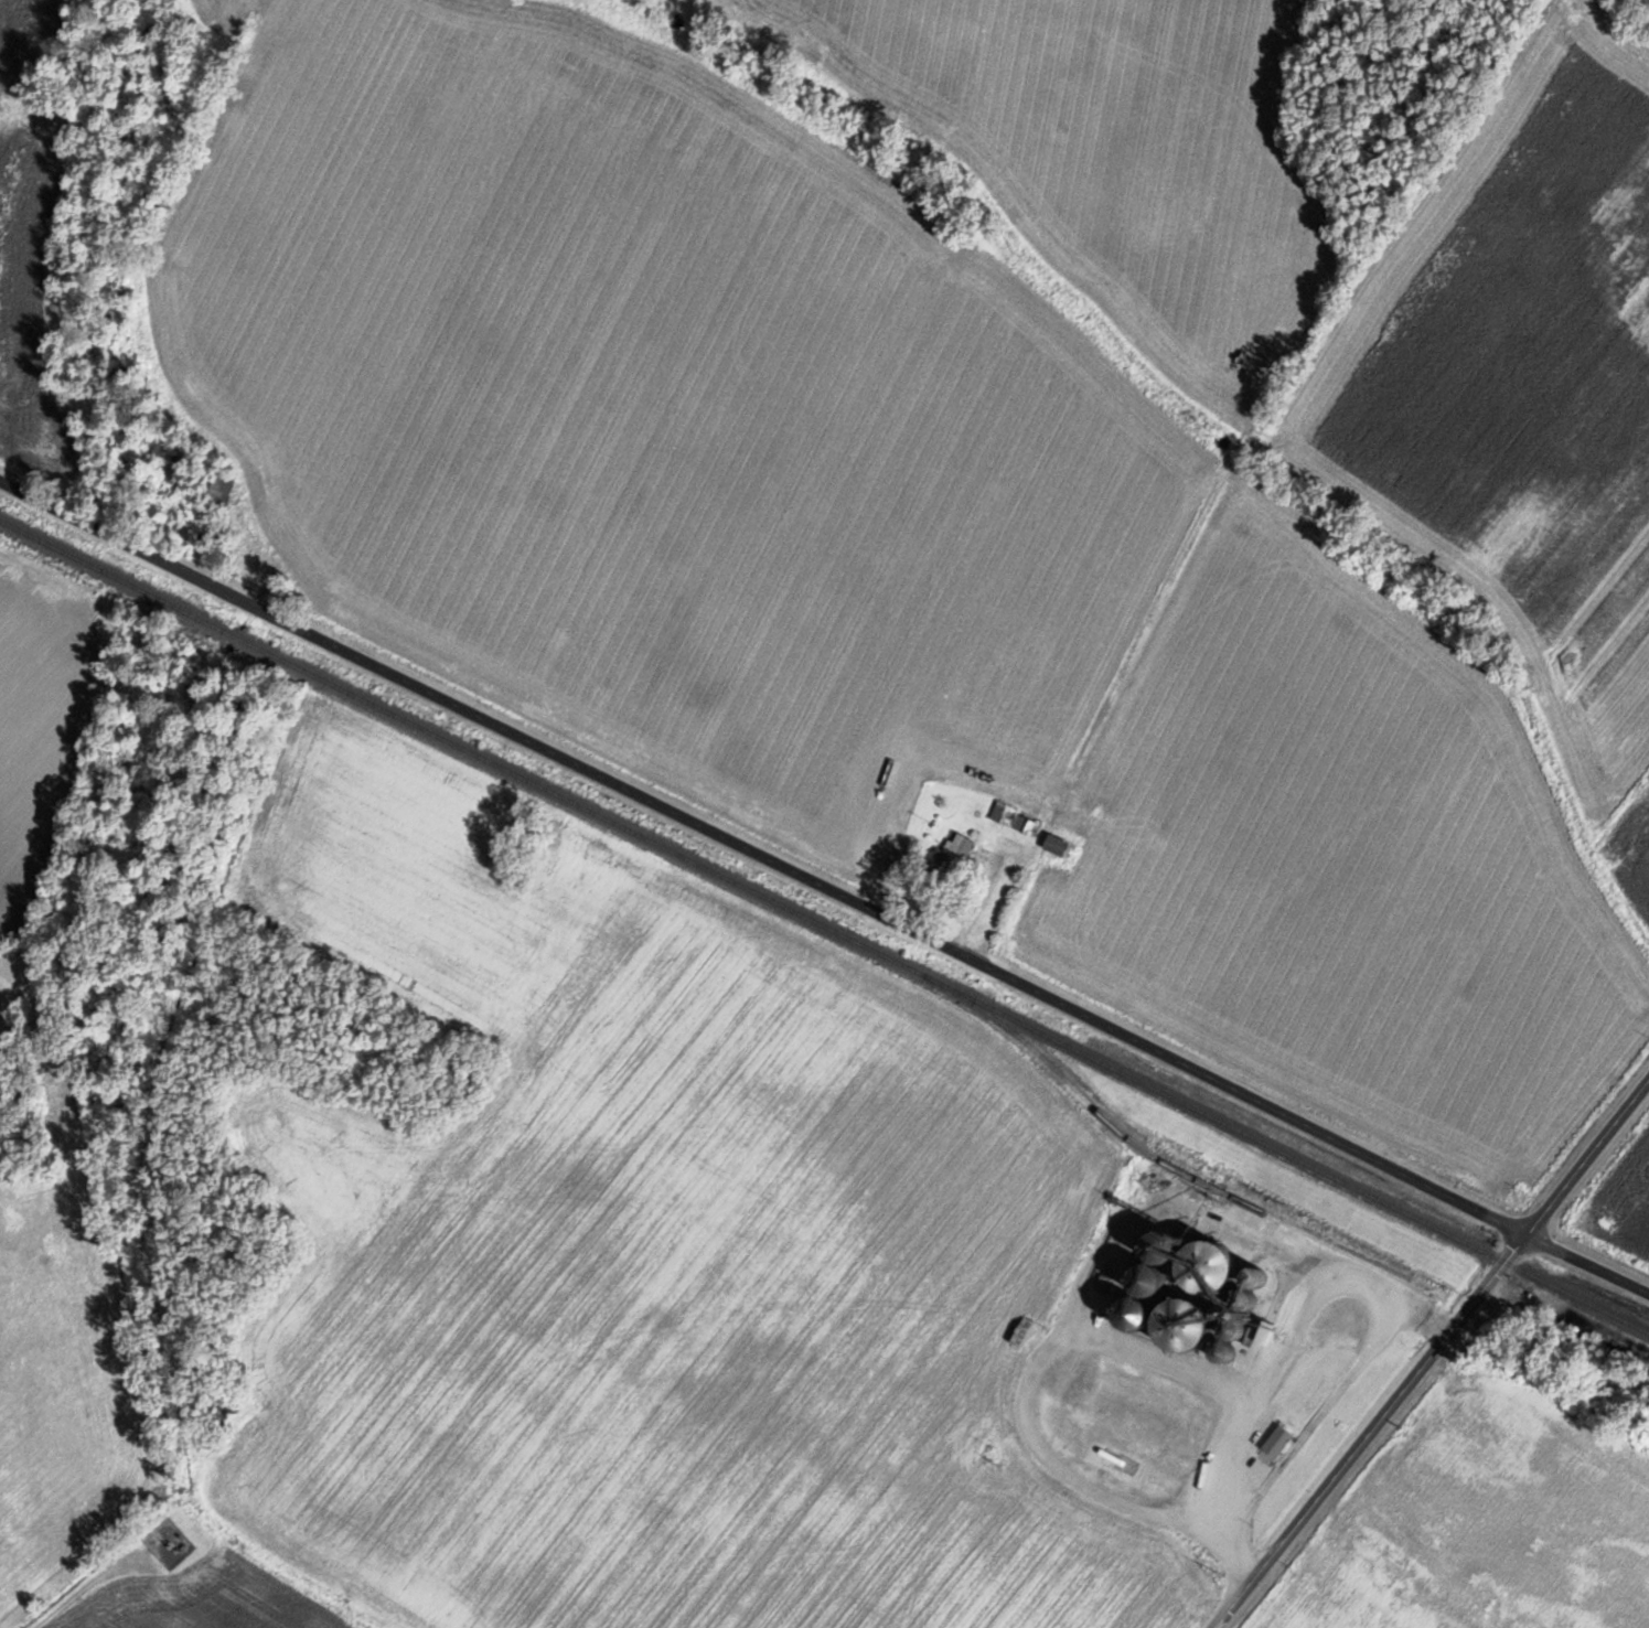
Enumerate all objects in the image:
building: (21, 389)
building: (61, 442)
building: (227, 482)
building: (319, 551)
building: (1015, 817)
building: (1060, 848)
building: (955, 852)
road: (825, 883)
railway: (824, 927)
railway: (1171, 1167)
building: (1224, 1278)
building: (1202, 1326)
road: (1434, 1352)

